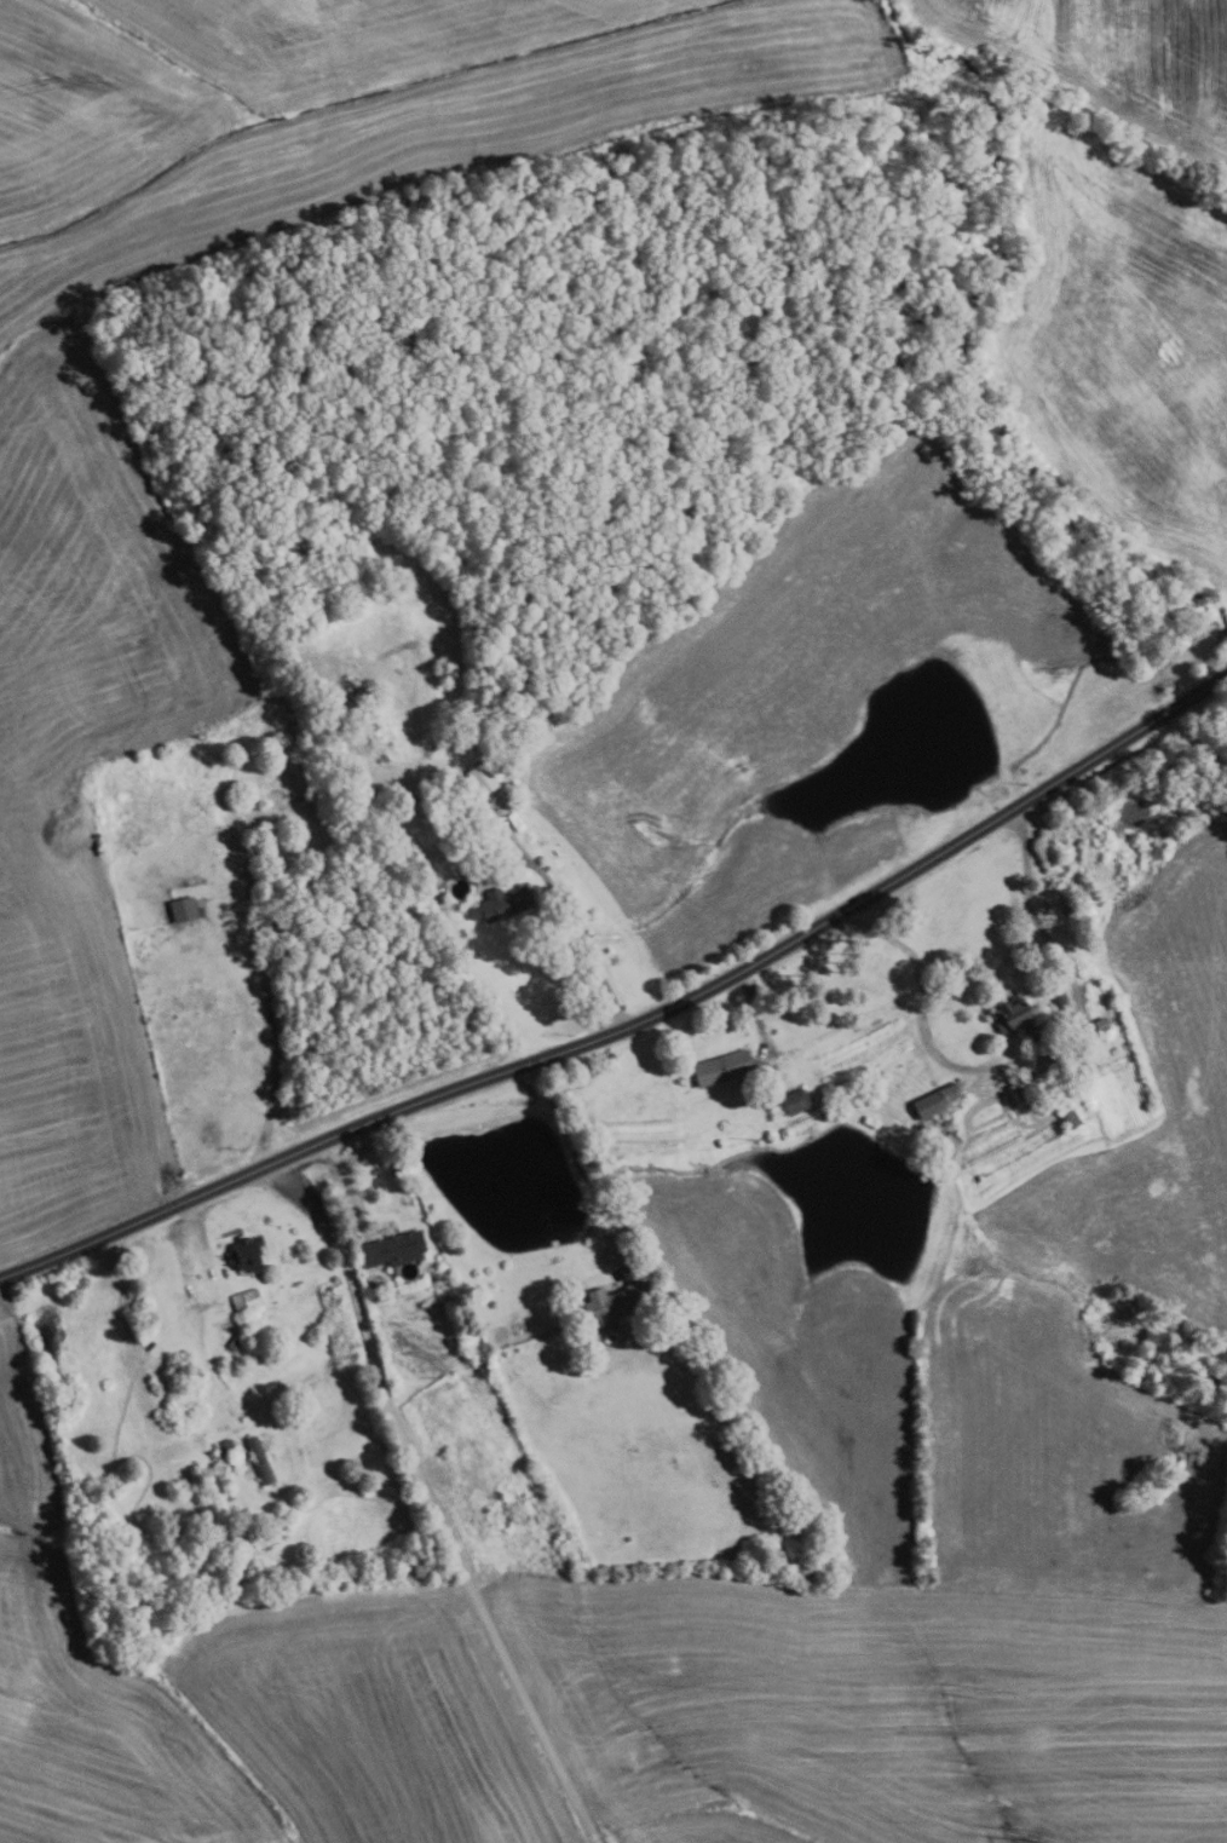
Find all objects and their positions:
crop: (1110, 61)
crop: (1119, 347)
crop: (125, 661)
crop: (785, 696)
building: (298, 761)
building: (479, 778)
building: (445, 808)
building: (515, 822)
building: (485, 825)
road: (500, 871)
building: (502, 902)
building: (186, 909)
building: (470, 914)
road: (578, 932)
road: (264, 994)
building: (1060, 996)
building: (1012, 1015)
road: (137, 1019)
road: (636, 1023)
building: (1098, 1025)
building: (1018, 1041)
road: (1027, 1056)
building: (1089, 1061)
building: (718, 1070)
building: (1019, 1082)
building: (933, 1100)
building: (790, 1101)
building: (1071, 1113)
road: (572, 1159)
building: (391, 1250)
building: (248, 1251)
building: (246, 1301)
building: (617, 1303)
road: (361, 1329)
building: (238, 1338)
building: (226, 1453)
building: (263, 1459)
road: (509, 1676)

